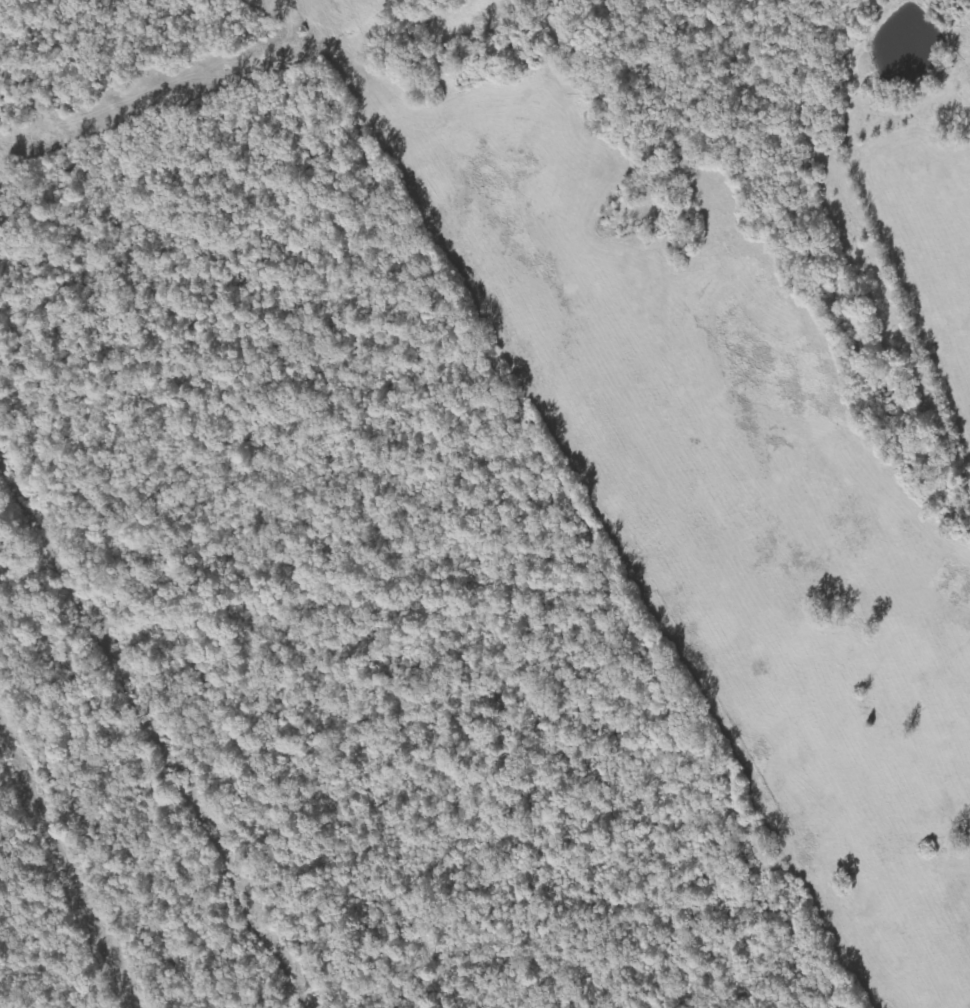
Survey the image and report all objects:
road: (81, 828)

